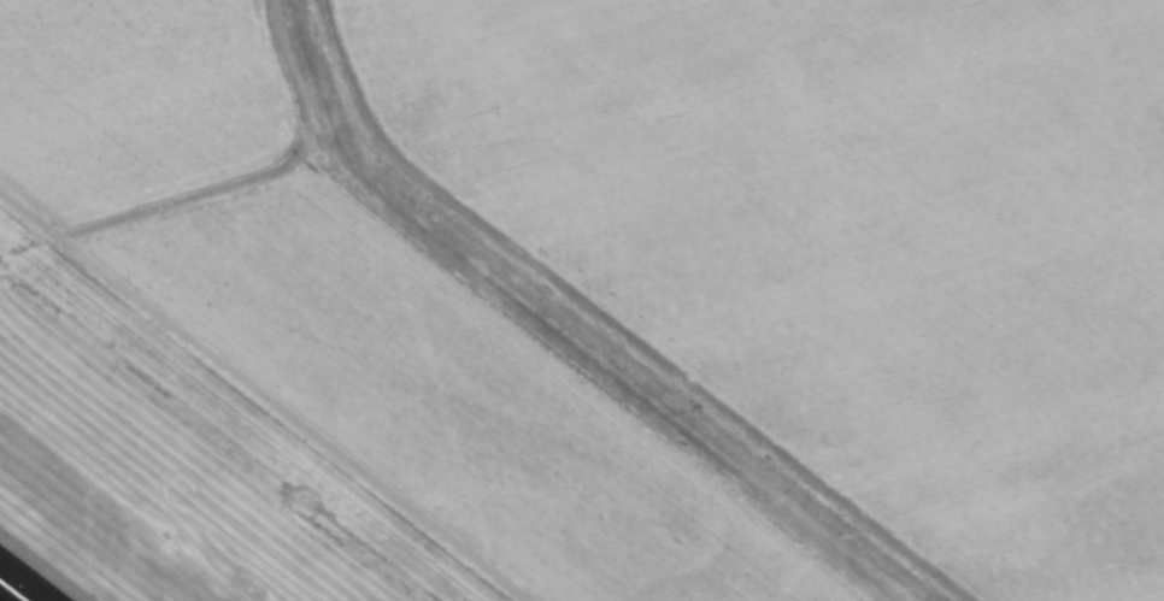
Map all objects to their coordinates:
crop: (594, 294)
airport: (59, 556)

